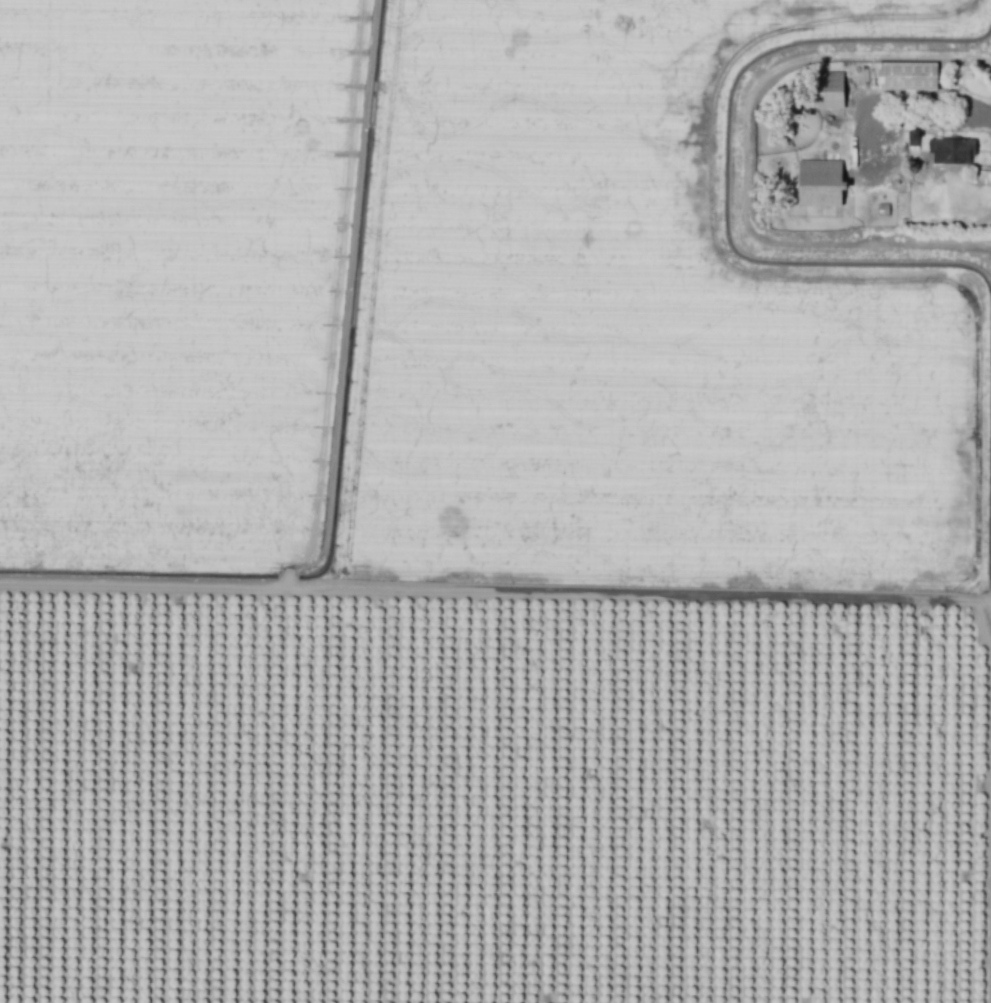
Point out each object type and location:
building: (905, 75)
building: (828, 90)
road: (910, 119)
building: (954, 150)
building: (818, 183)

